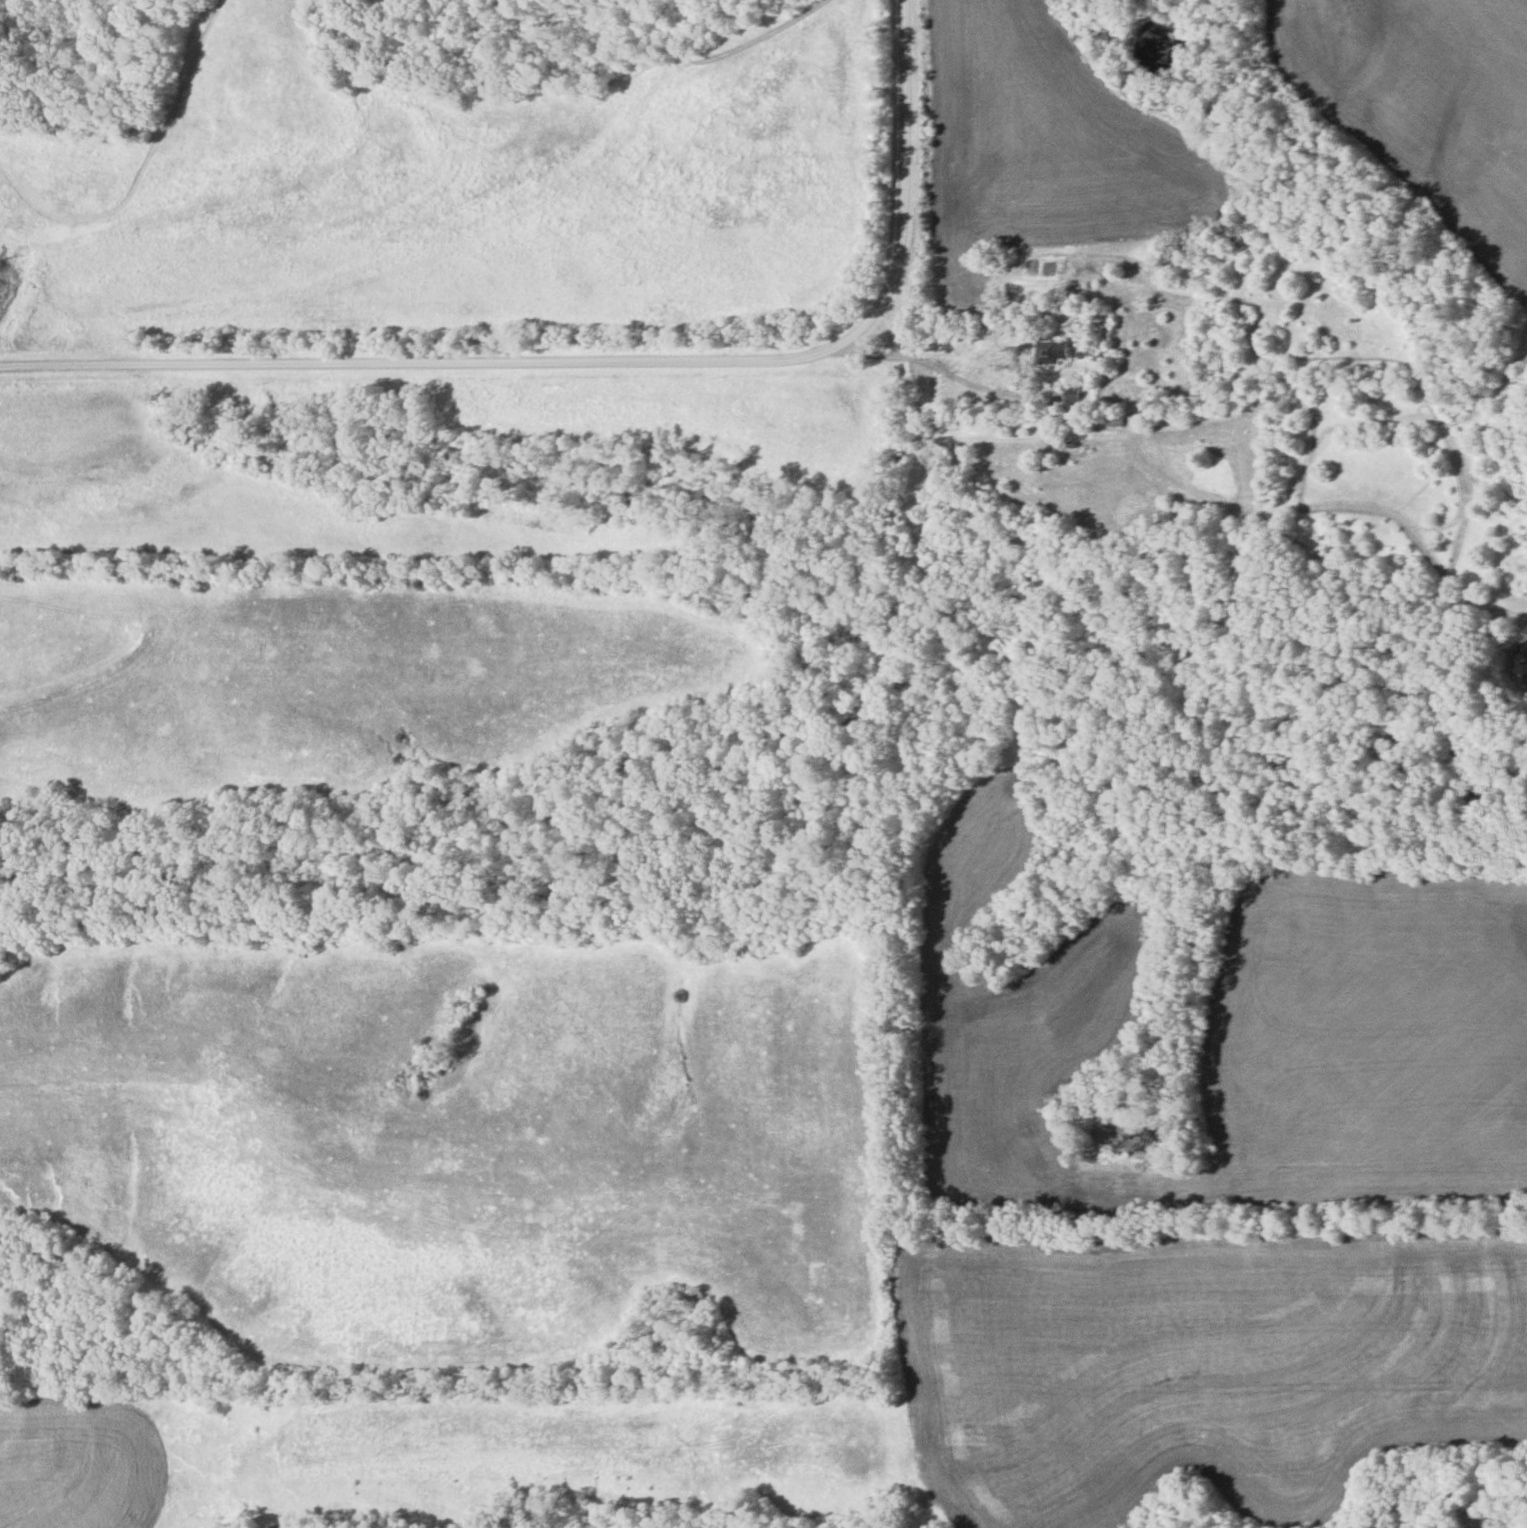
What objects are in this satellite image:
road: (926, 352)
building: (1051, 352)
road: (604, 358)

